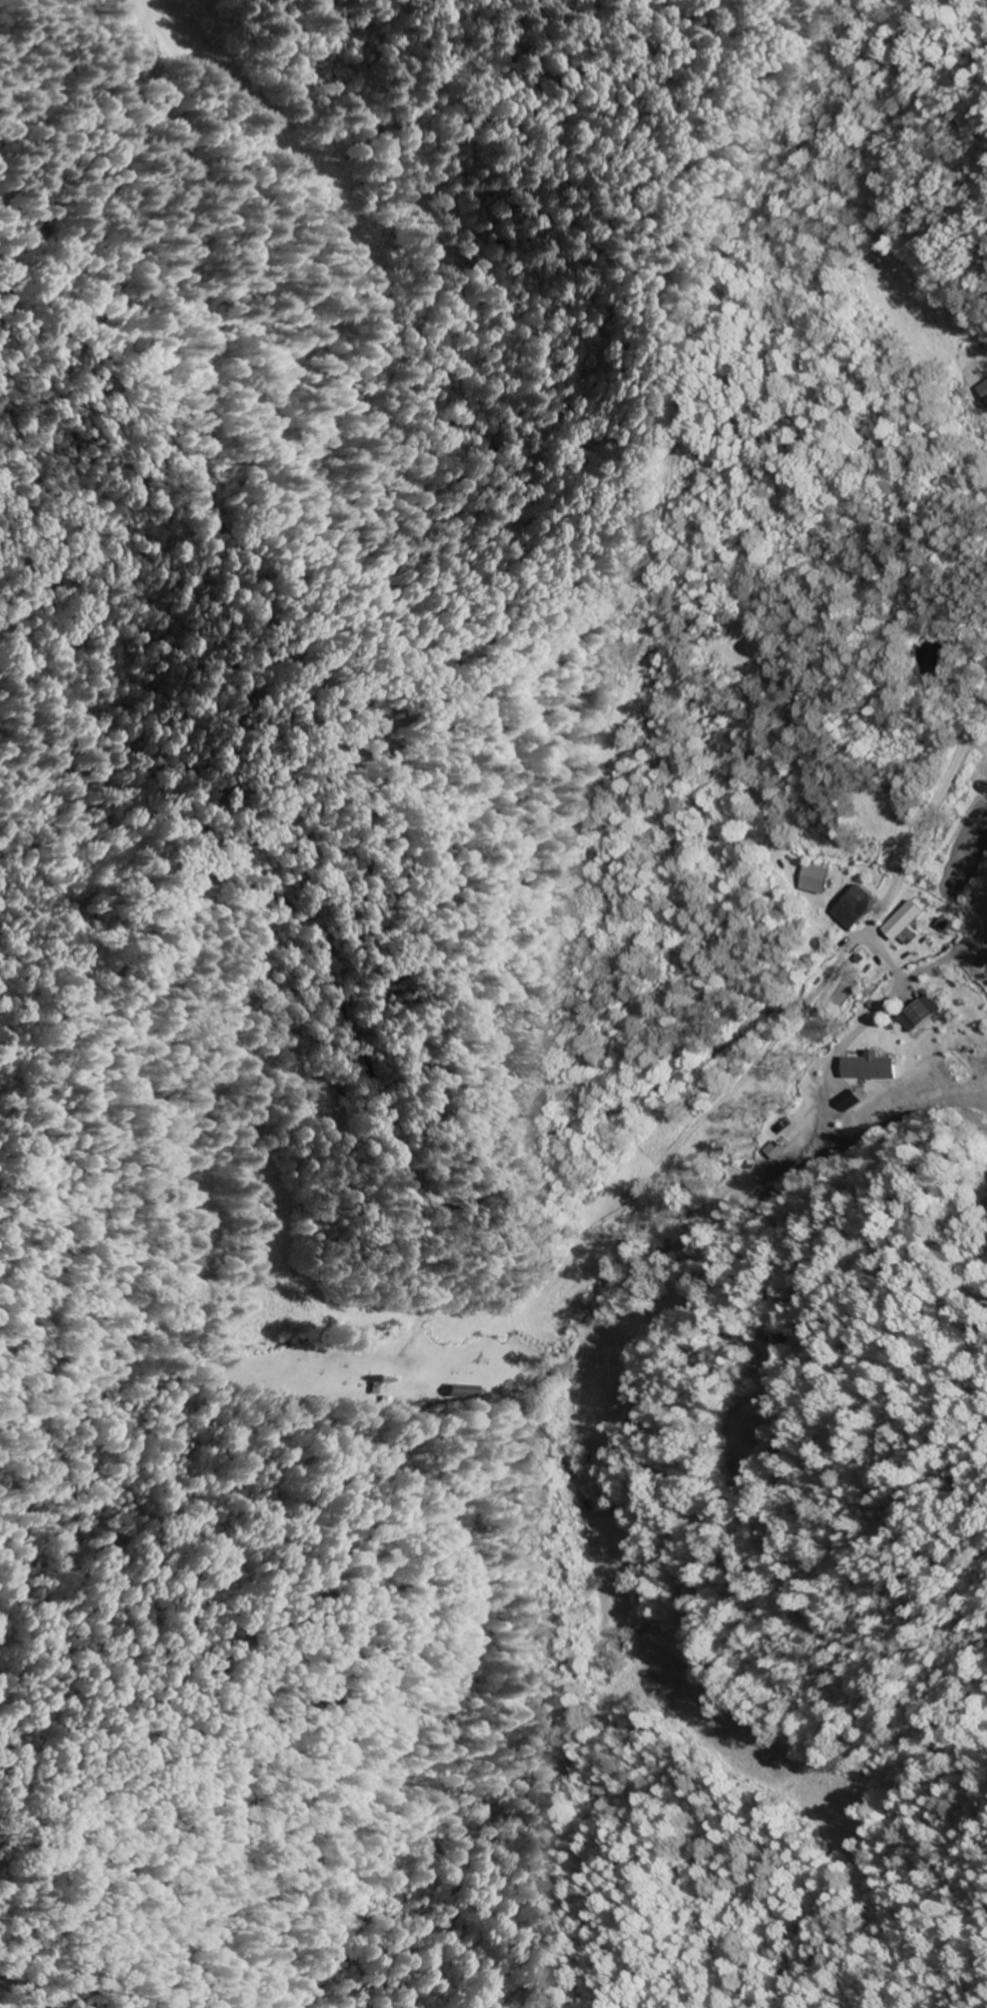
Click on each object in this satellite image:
building: (983, 391)
road: (931, 811)
building: (815, 880)
building: (857, 909)
building: (905, 925)
road: (344, 978)
building: (920, 1015)
building: (870, 1069)
building: (846, 1103)
road: (47, 1967)

